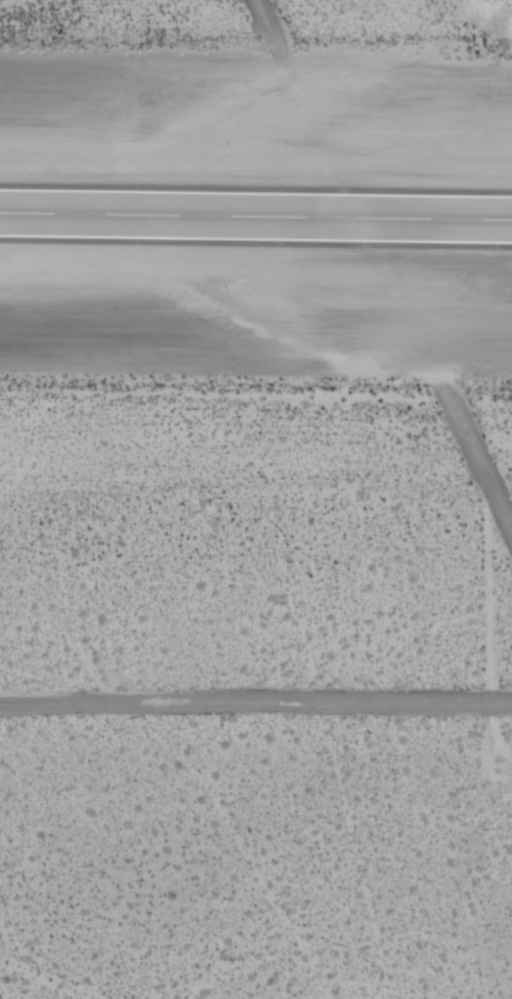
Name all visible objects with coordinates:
airport runway: (256, 217)
airport: (256, 499)

